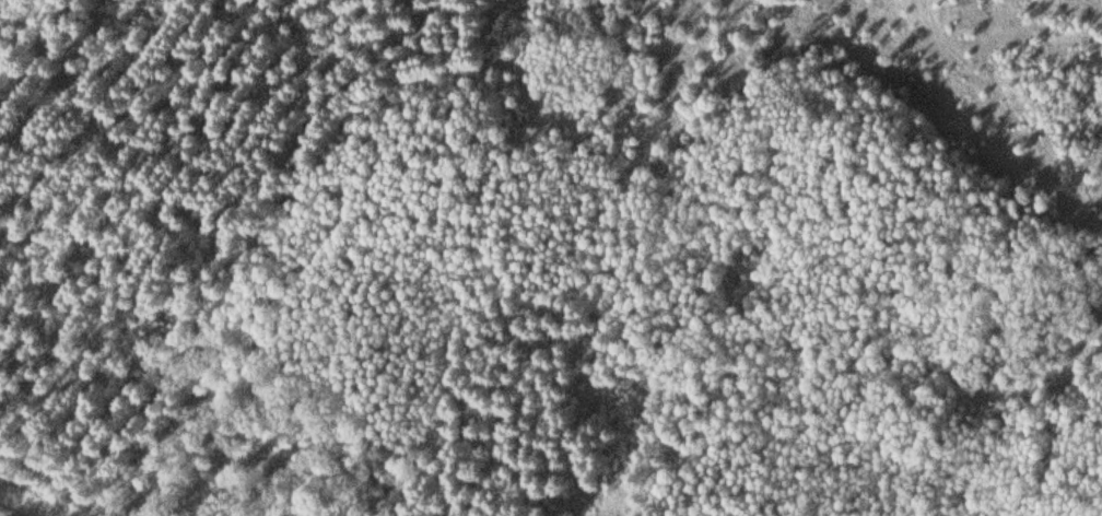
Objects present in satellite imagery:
road: (20, 505)

